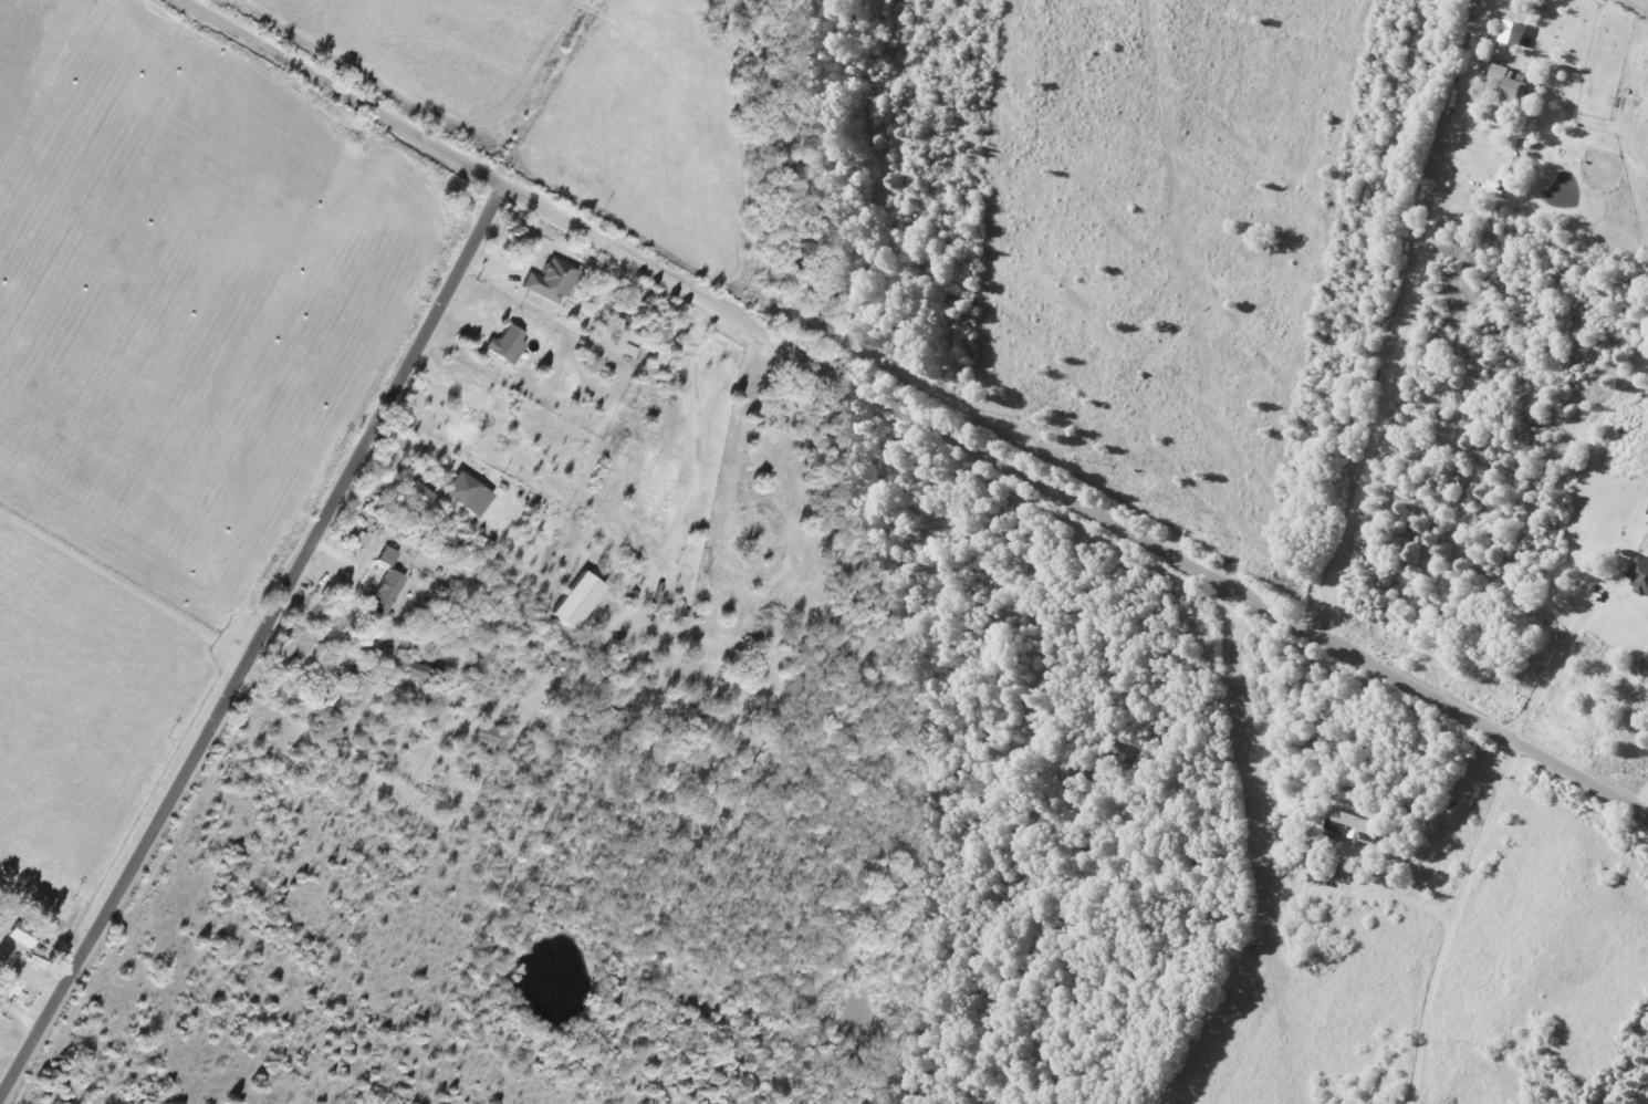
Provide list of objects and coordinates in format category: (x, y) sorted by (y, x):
road: (175, 2)
building: (1515, 32)
building: (1500, 73)
building: (1519, 91)
building: (552, 280)
building: (508, 344)
road: (1394, 351)
road: (906, 412)
building: (469, 492)
building: (389, 555)
building: (1640, 574)
building: (387, 592)
road: (254, 644)
road: (1558, 655)
building: (418, 670)
building: (488, 736)
building: (1354, 826)
road: (1457, 920)
building: (24, 934)
road: (19, 1012)

